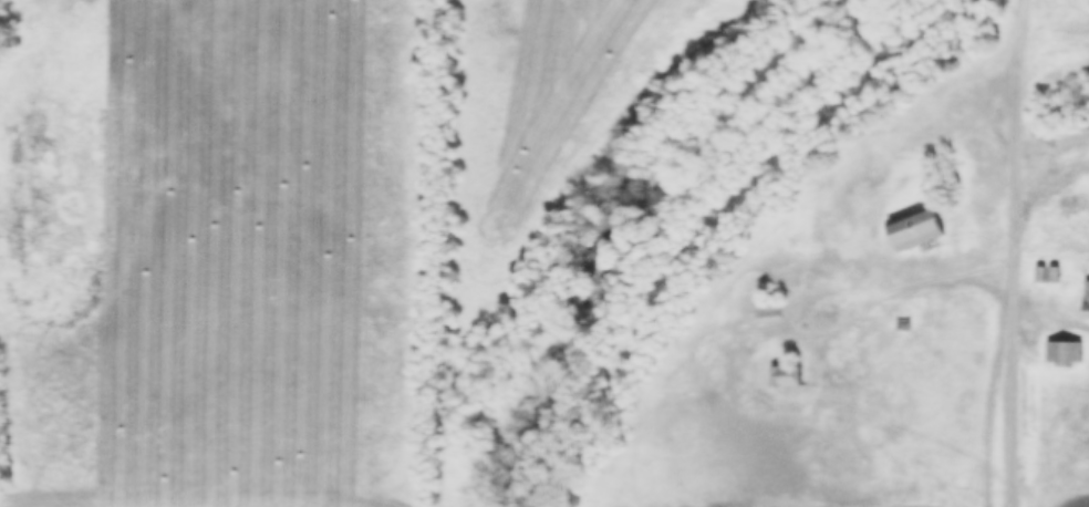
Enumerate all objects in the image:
road: (1015, 112)
road: (1045, 188)
building: (916, 236)
building: (1085, 306)
building: (1071, 354)
road: (1010, 365)

